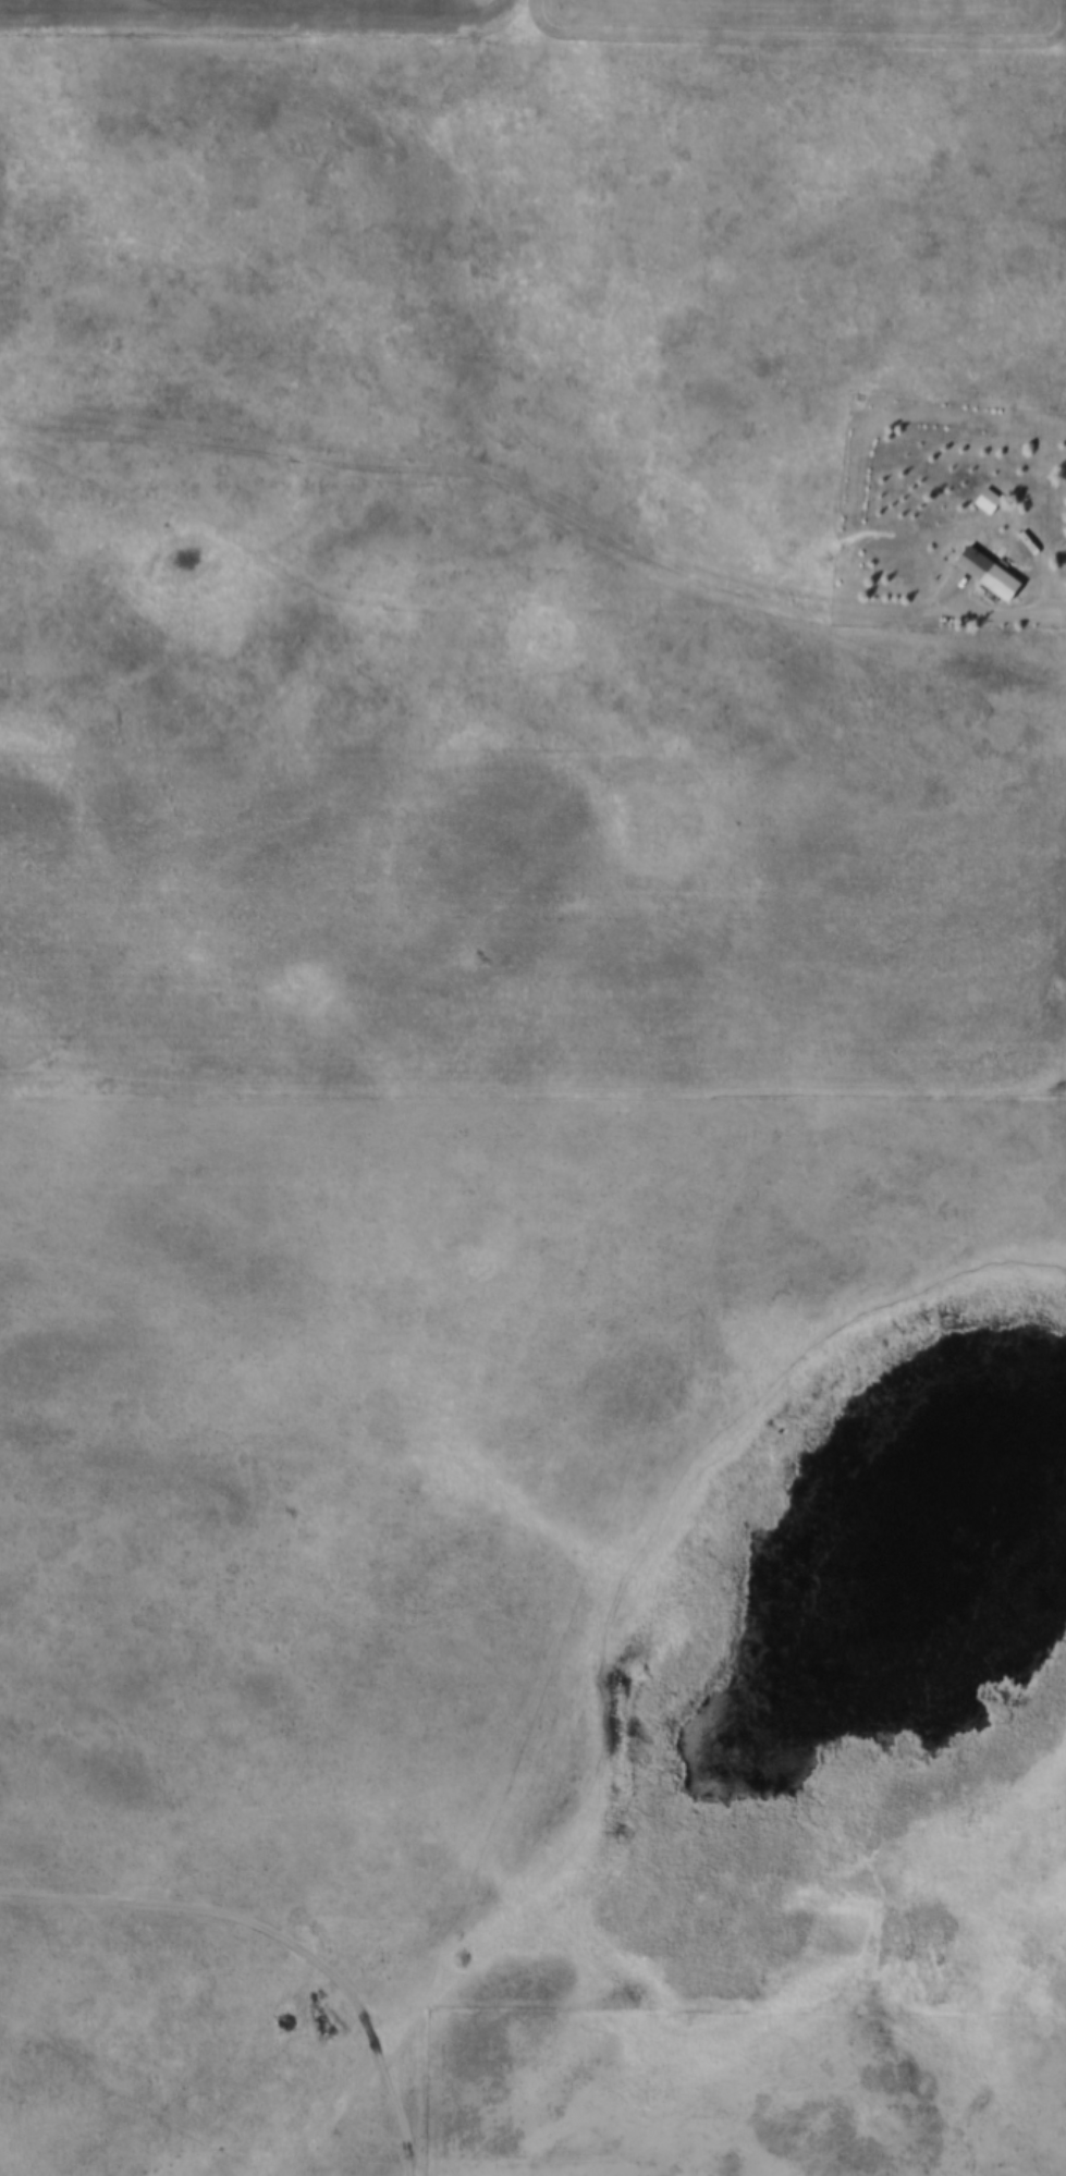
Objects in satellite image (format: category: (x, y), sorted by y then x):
building: (989, 500)
building: (990, 573)
road: (1006, 613)
road: (278, 1935)

